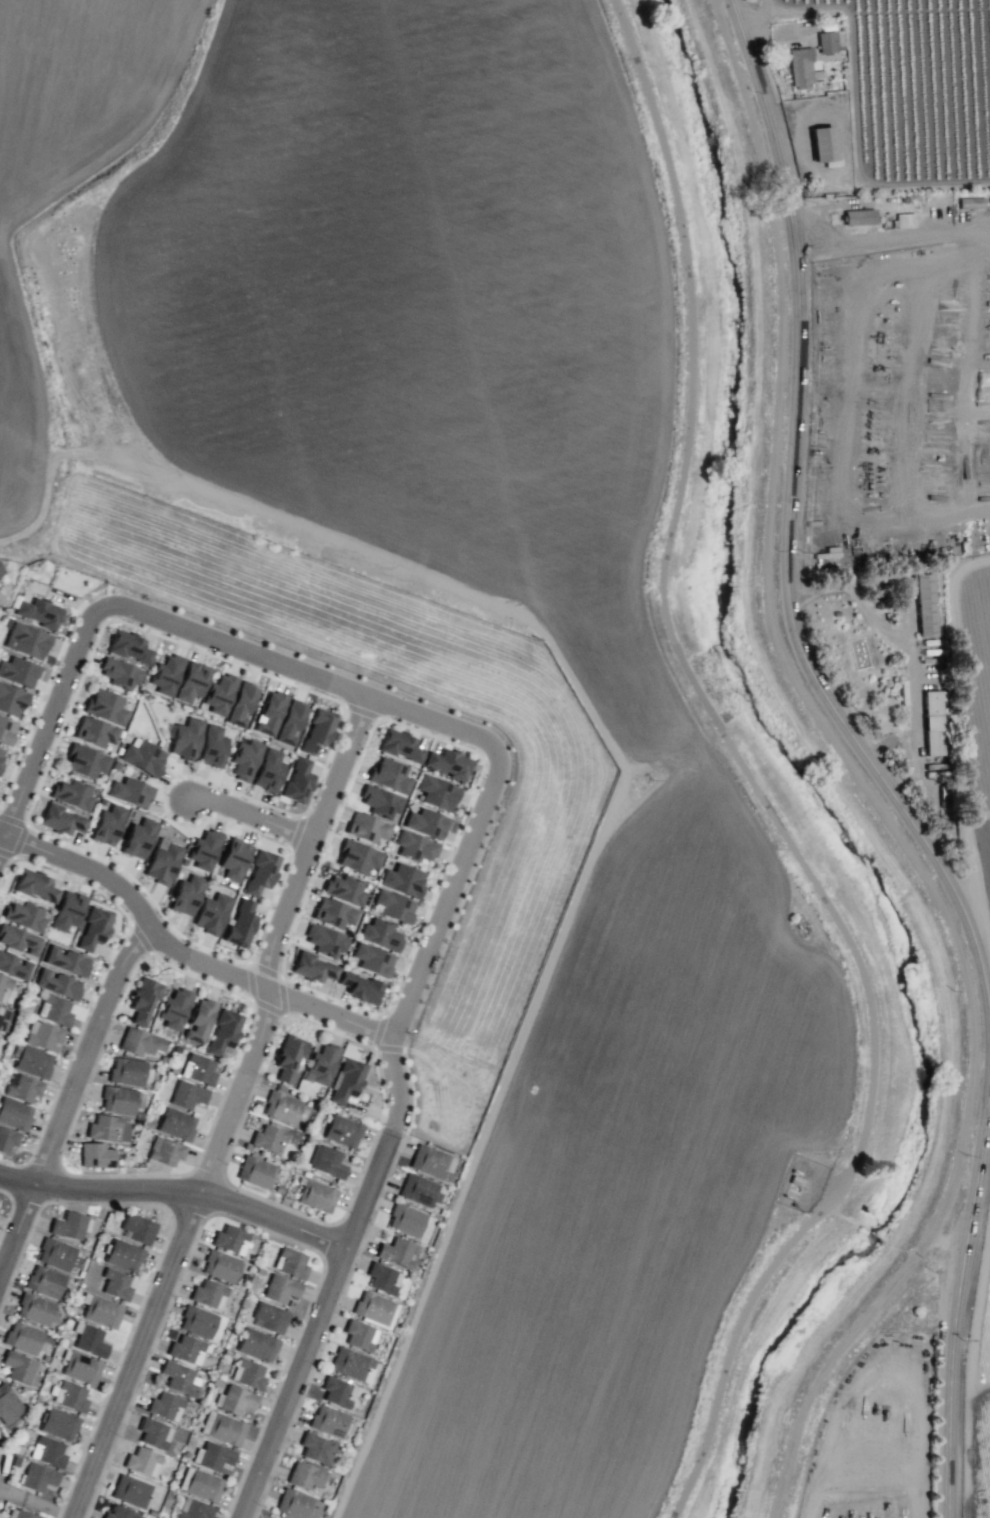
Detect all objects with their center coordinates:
building: (825, 41)
building: (800, 67)
building: (823, 145)
building: (989, 201)
building: (969, 202)
building: (858, 217)
building: (904, 220)
road: (925, 231)
road: (826, 242)
road: (857, 447)
crop: (586, 523)
building: (1, 572)
road: (837, 588)
building: (924, 604)
building: (38, 612)
crop: (441, 624)
building: (26, 640)
road: (550, 641)
building: (129, 646)
road: (685, 670)
building: (18, 672)
building: (120, 673)
building: (166, 674)
building: (191, 681)
road: (329, 689)
building: (11, 700)
building: (241, 703)
building: (105, 706)
building: (269, 713)
building: (290, 722)
building: (931, 722)
building: (6, 729)
building: (317, 730)
building: (94, 732)
building: (185, 738)
building: (400, 745)
building: (211, 746)
building: (1, 754)
building: (143, 757)
building: (244, 759)
road: (868, 760)
building: (85, 761)
building: (447, 763)
building: (268, 770)
building: (389, 775)
building: (297, 781)
building: (130, 792)
building: (437, 792)
building: (72, 793)
building: (380, 802)
road: (255, 816)
building: (61, 819)
building: (426, 823)
building: (107, 825)
building: (366, 827)
building: (137, 838)
road: (2, 840)
building: (414, 847)
road: (316, 848)
building: (204, 850)
building: (357, 856)
building: (233, 859)
building: (162, 861)
building: (260, 872)
building: (402, 879)
building: (35, 885)
building: (344, 889)
building: (185, 894)
building: (394, 906)
building: (67, 910)
building: (211, 913)
building: (333, 913)
building: (24, 915)
building: (240, 924)
building: (92, 927)
building: (380, 934)
building: (19, 939)
building: (324, 940)
road: (185, 954)
building: (66, 960)
building: (373, 960)
building: (14, 966)
building: (313, 967)
building: (57, 983)
building: (361, 987)
building: (5, 989)
building: (143, 1000)
building: (173, 1008)
building: (1, 1010)
building: (54, 1010)
building: (198, 1021)
building: (223, 1032)
building: (43, 1034)
building: (139, 1042)
road: (89, 1052)
building: (288, 1058)
building: (33, 1061)
building: (320, 1064)
building: (198, 1068)
building: (128, 1071)
building: (345, 1080)
building: (22, 1087)
building: (186, 1094)
building: (117, 1100)
building: (283, 1108)
building: (14, 1114)
building: (175, 1123)
building: (102, 1126)
building: (341, 1131)
building: (269, 1138)
building: (7, 1139)
building: (164, 1151)
building: (95, 1155)
building: (326, 1161)
building: (431, 1162)
building: (255, 1171)
road: (177, 1189)
building: (419, 1190)
building: (315, 1195)
road: (9, 1210)
building: (405, 1220)
road: (16, 1225)
building: (69, 1225)
building: (137, 1228)
building: (229, 1239)
building: (396, 1252)
road: (159, 1253)
building: (56, 1254)
building: (123, 1254)
road: (172, 1256)
building: (290, 1263)
building: (219, 1265)
building: (382, 1278)
building: (43, 1281)
road: (331, 1281)
building: (115, 1284)
building: (280, 1288)
building: (208, 1294)
building: (374, 1308)
building: (34, 1309)
building: (102, 1311)
building: (269, 1317)
building: (197, 1321)
building: (359, 1335)
building: (21, 1337)
building: (88, 1339)
building: (256, 1345)
building: (44, 1358)
building: (351, 1364)
building: (18, 1367)
building: (80, 1368)
building: (247, 1373)
building: (179, 1378)
building: (337, 1392)
building: (68, 1395)
building: (37, 1396)
road: (715, 1397)
building: (234, 1400)
building: (7, 1404)
building: (164, 1405)
building: (327, 1420)
building: (58, 1424)
building: (225, 1429)
building: (153, 1433)
building: (22, 1441)
building: (316, 1448)
building: (47, 1451)
building: (212, 1456)
building: (15, 1461)
building: (142, 1461)
parking lot: (4, 1470)
building: (304, 1475)
building: (37, 1477)
building: (200, 1484)
building: (132, 1491)
road: (35, 1503)
building: (297, 1505)
building: (193, 1509)
building: (119, 1513)
building: (19, 1514)

